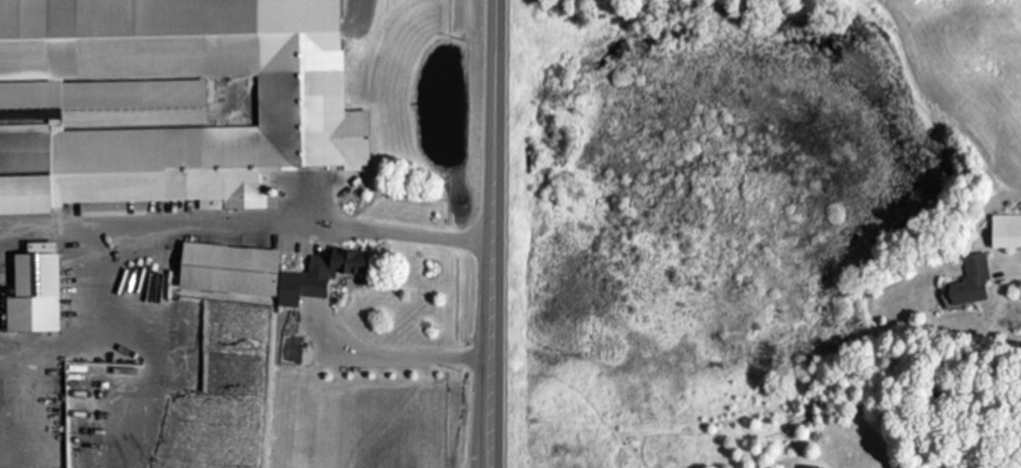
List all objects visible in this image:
road: (226, 42)
building: (164, 103)
road: (249, 219)
building: (1008, 232)
road: (497, 234)
road: (1020, 263)
building: (268, 272)
building: (974, 282)
building: (40, 295)
road: (414, 357)
building: (809, 467)

